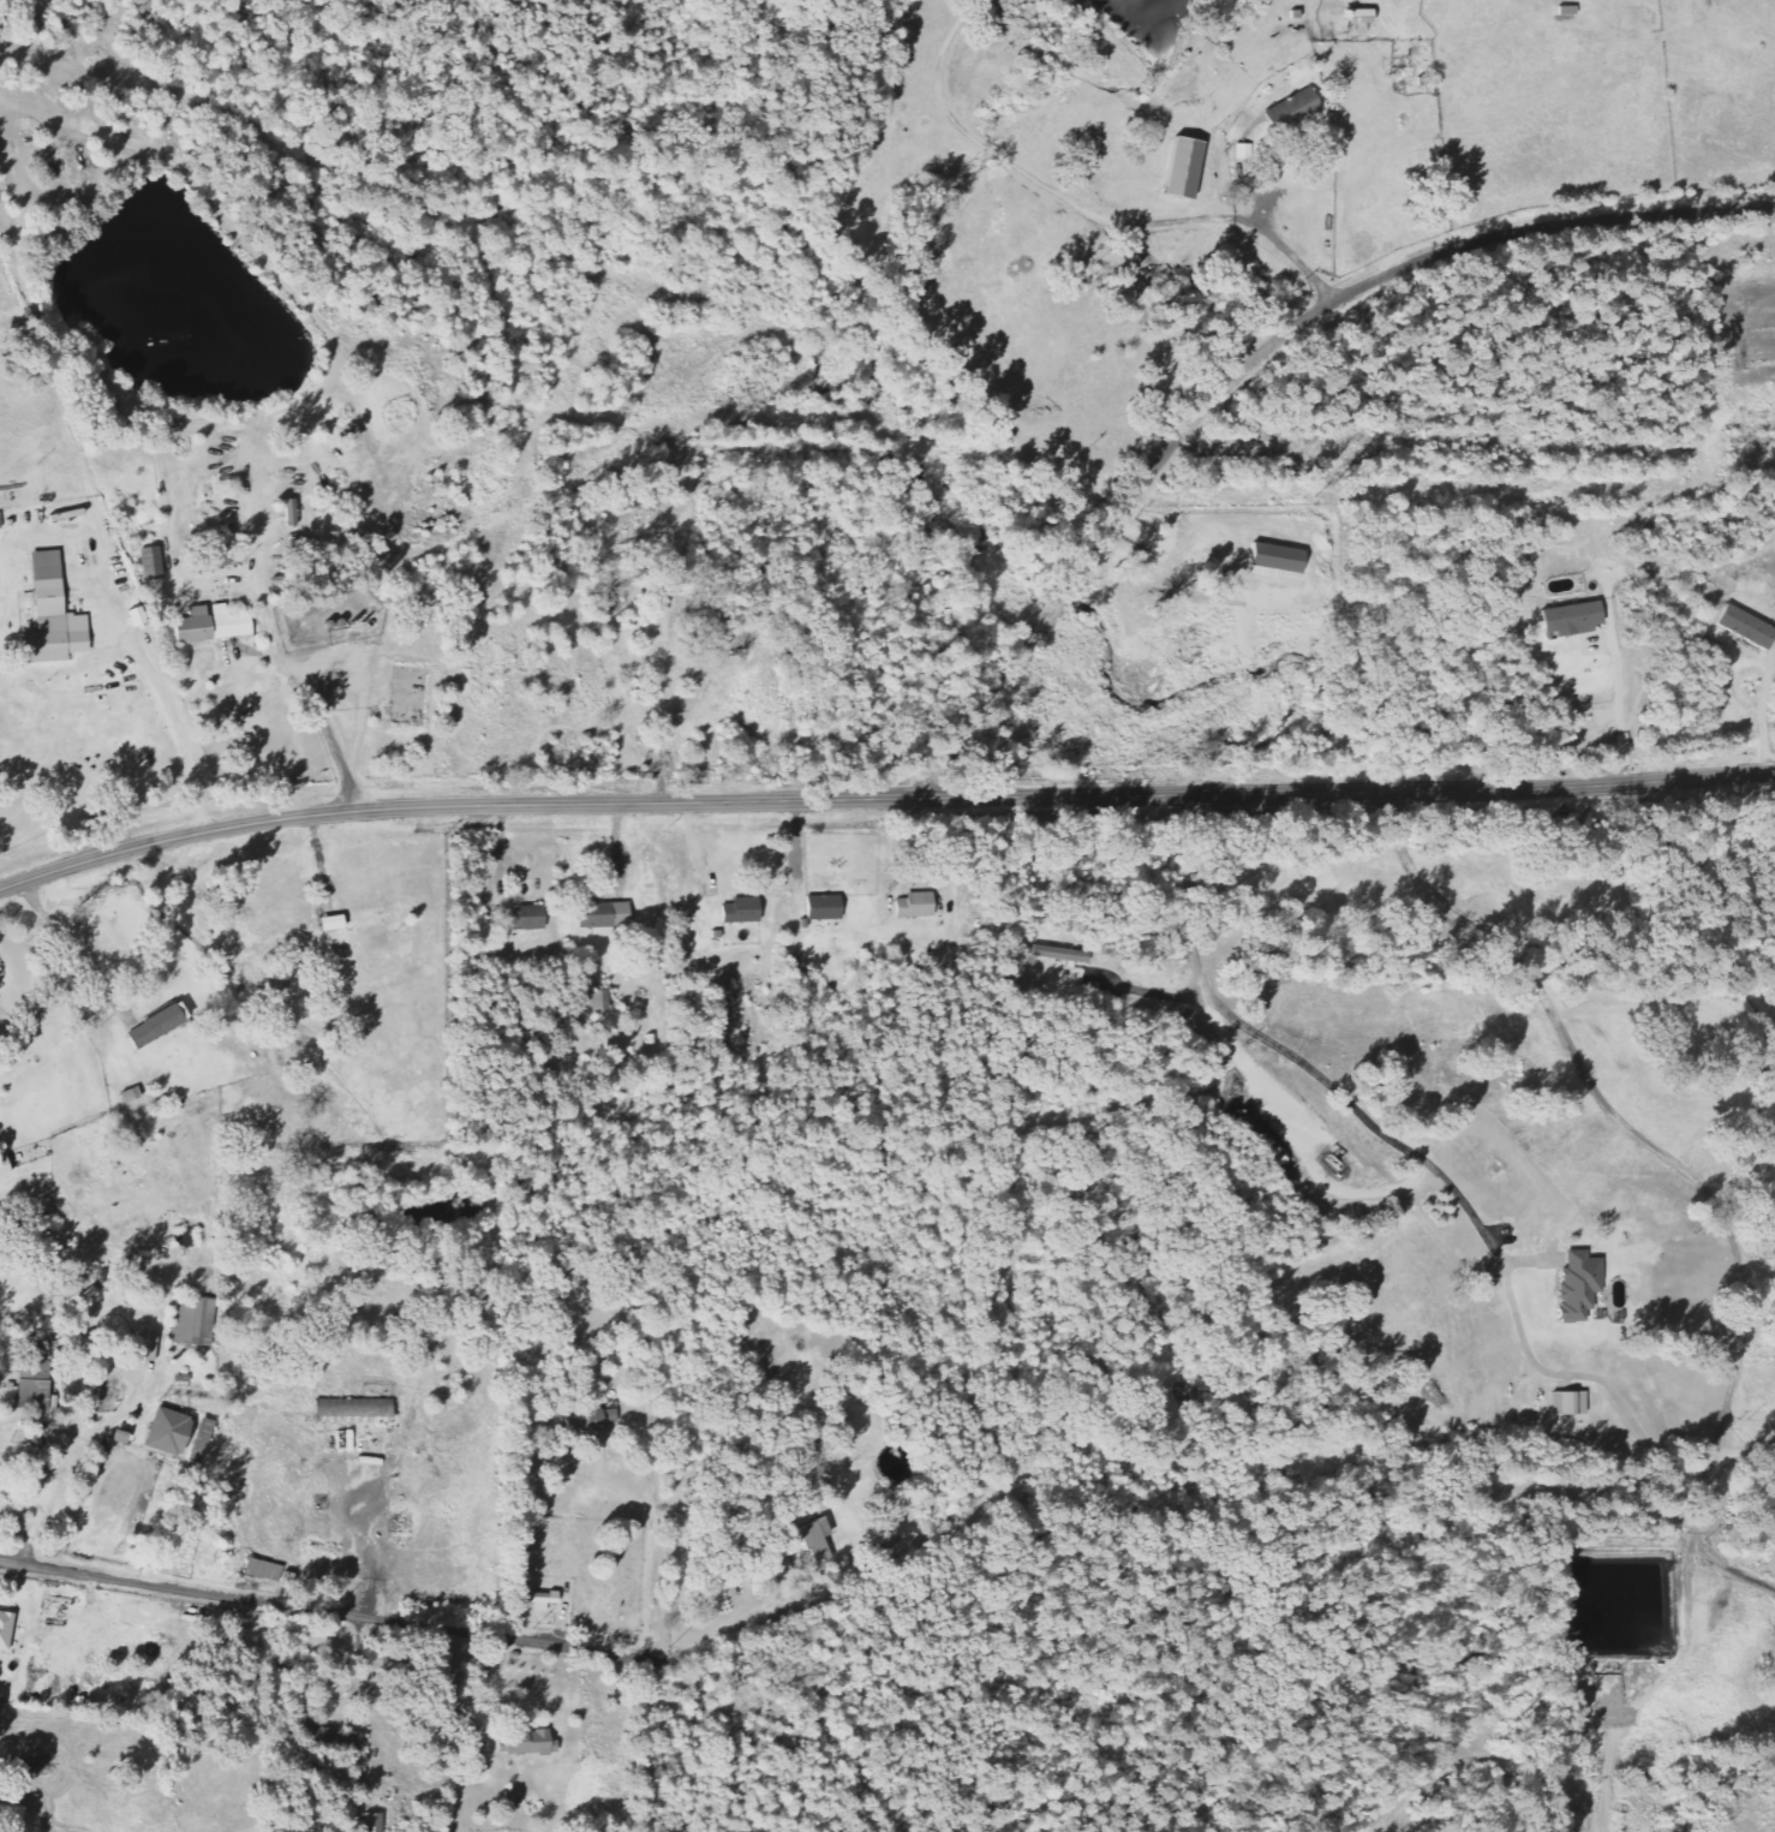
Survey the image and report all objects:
building: (1358, 16)
building: (1291, 113)
building: (1242, 151)
building: (1179, 168)
road: (1249, 363)
building: (0, 521)
building: (149, 563)
building: (49, 616)
building: (1570, 619)
building: (209, 625)
building: (1744, 627)
road: (883, 800)
building: (912, 906)
building: (819, 908)
building: (739, 911)
building: (602, 915)
building: (524, 918)
building: (1057, 954)
building: (603, 1001)
building: (161, 1026)
building: (7, 1166)
building: (1, 1224)
building: (1577, 1285)
building: (196, 1321)
building: (43, 1360)
building: (755, 1376)
building: (38, 1395)
building: (1567, 1402)
building: (357, 1412)
building: (181, 1433)
building: (815, 1539)
building: (267, 1571)
building: (542, 1600)
road: (329, 1612)
building: (8, 1640)
building: (526, 1742)
building: (11, 1813)
building: (370, 1822)

